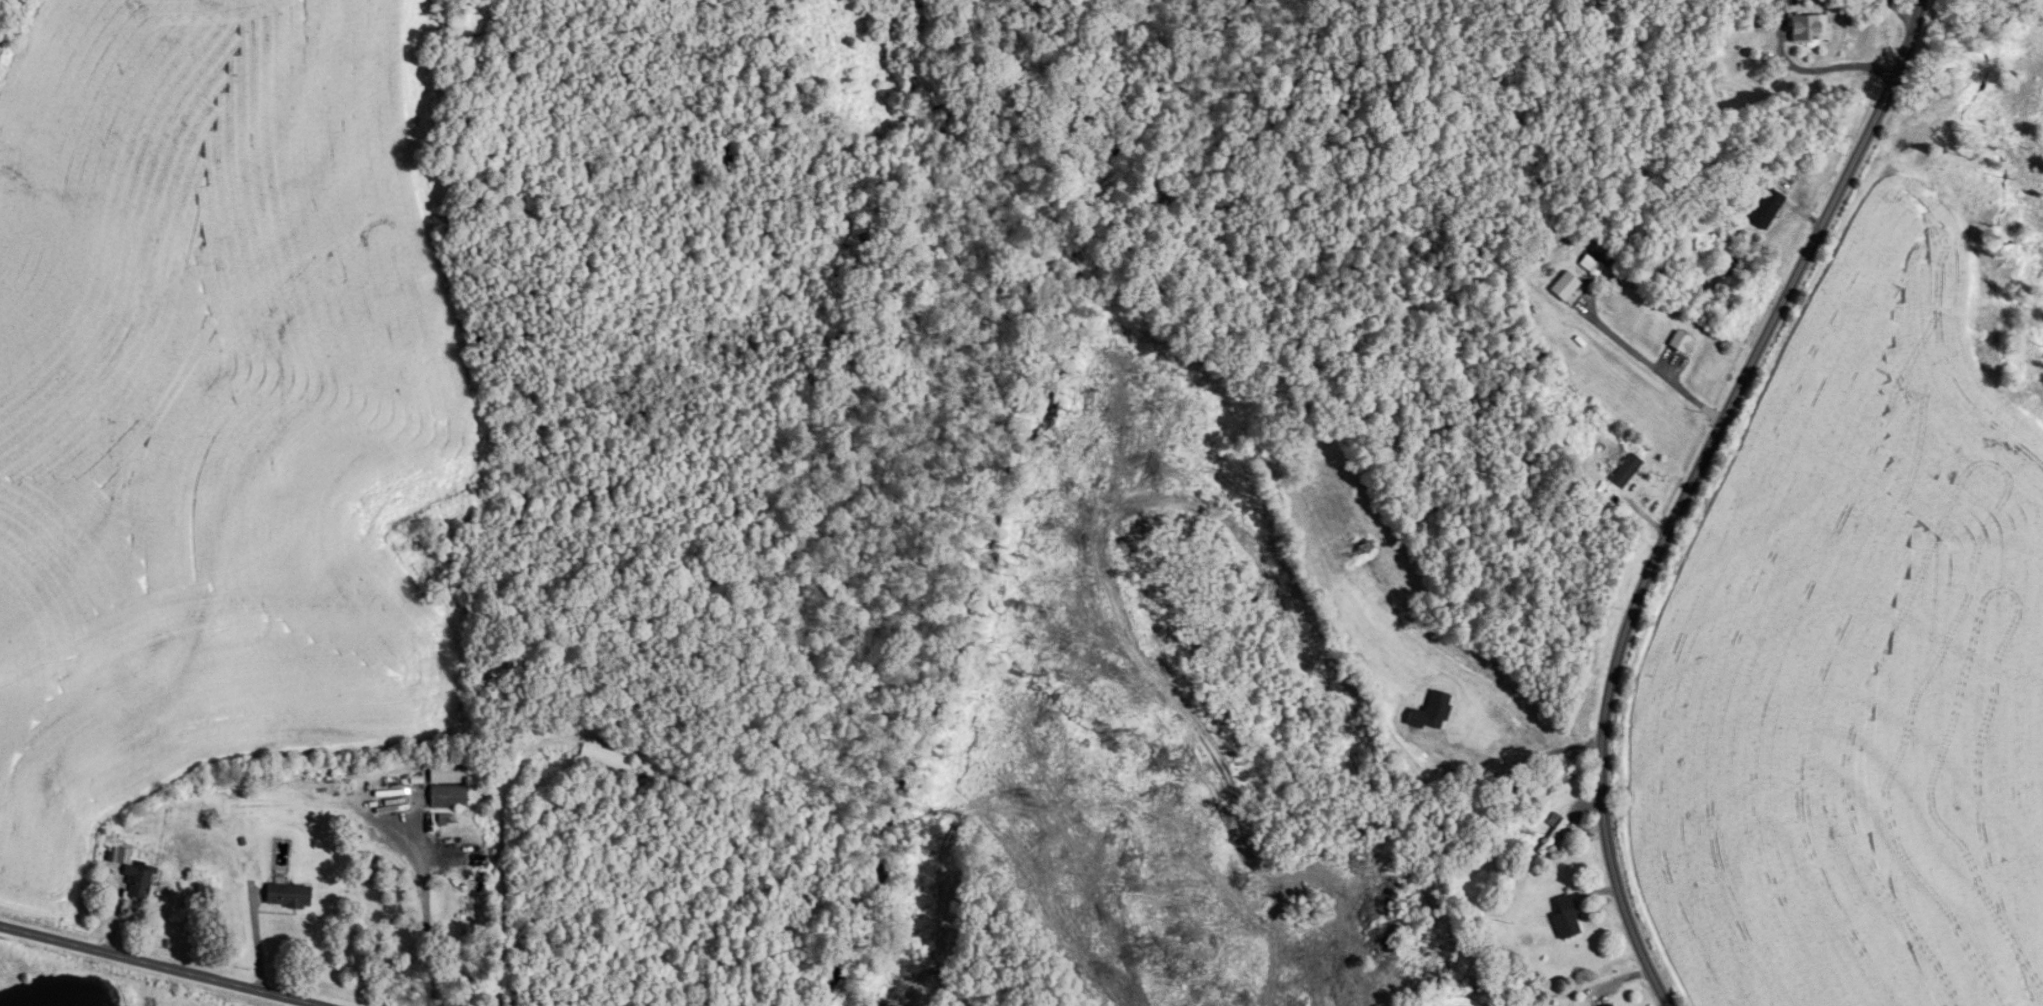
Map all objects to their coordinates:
road: (1904, 13)
road: (1810, 70)
building: (1771, 209)
building: (1685, 343)
road: (1653, 365)
building: (1629, 470)
road: (1688, 490)
road: (1641, 514)
building: (606, 762)
building: (451, 785)
building: (1556, 826)
building: (292, 895)
road: (426, 911)
building: (1566, 918)
road: (160, 966)
building: (1608, 1005)

